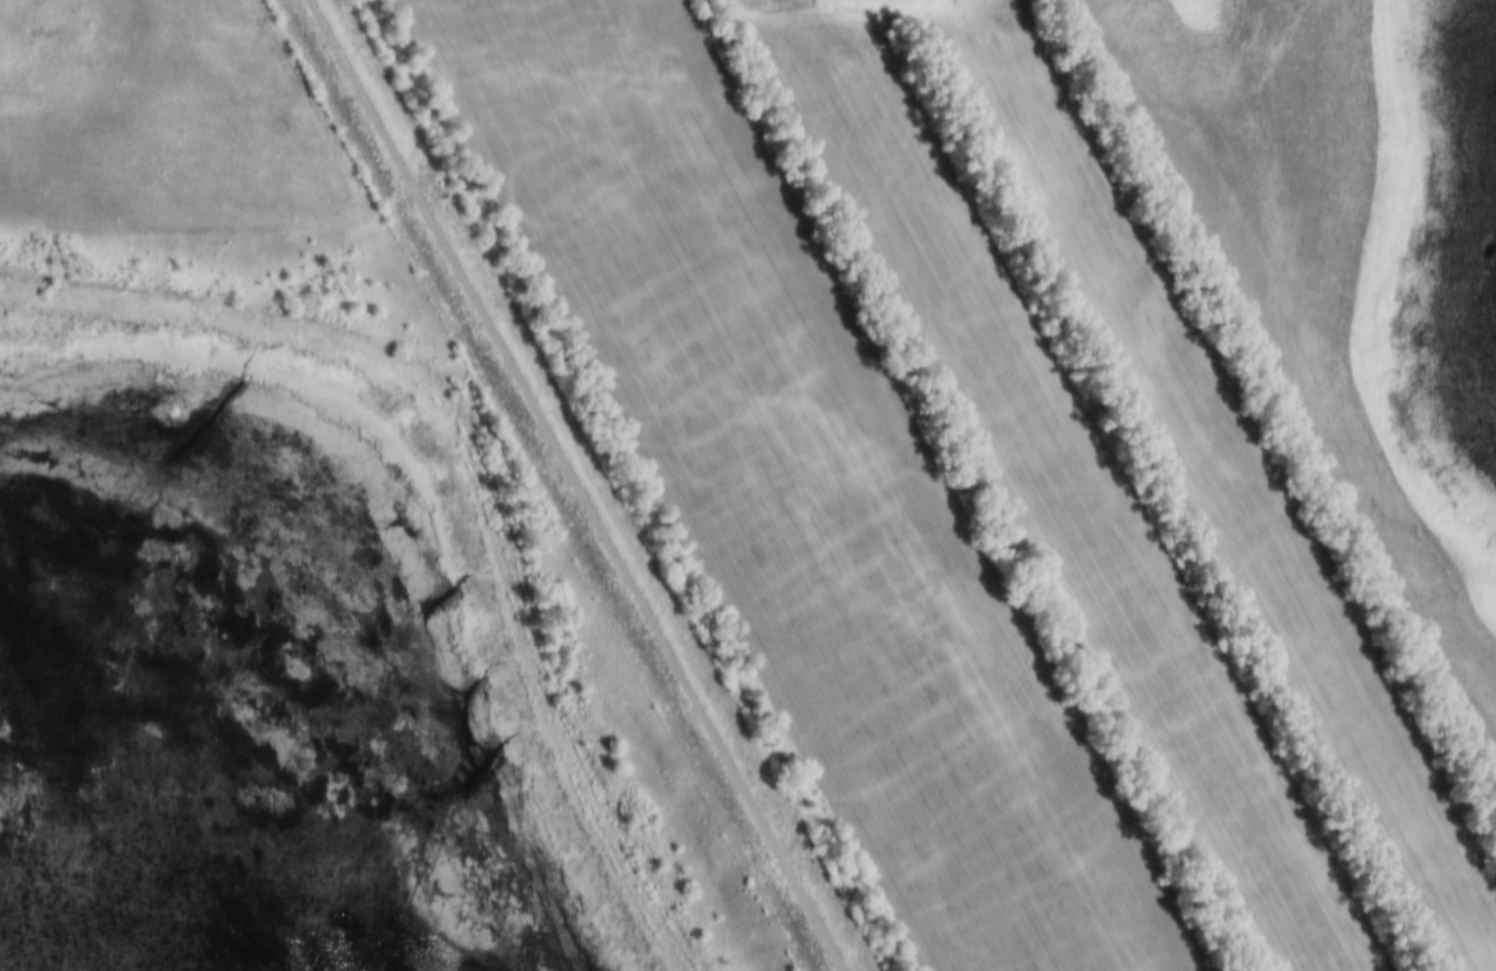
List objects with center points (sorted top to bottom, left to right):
road: (571, 487)

